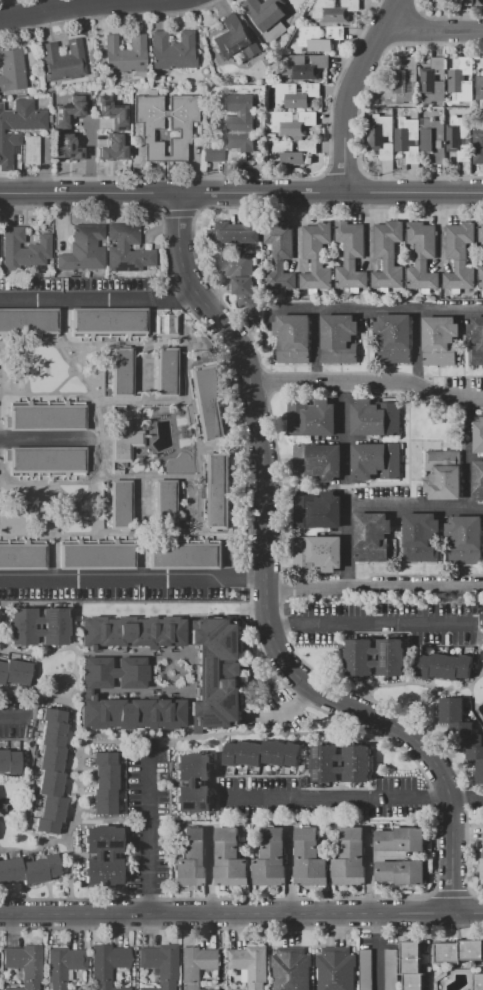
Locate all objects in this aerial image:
road: (60, 7)
building: (335, 10)
building: (267, 18)
road: (434, 29)
building: (235, 38)
building: (318, 38)
building: (172, 51)
building: (124, 54)
building: (62, 61)
building: (305, 67)
building: (12, 71)
building: (406, 80)
building: (460, 81)
building: (432, 82)
building: (479, 87)
road: (350, 92)
building: (295, 94)
building: (66, 114)
building: (113, 114)
building: (239, 122)
building: (292, 123)
building: (178, 126)
building: (17, 127)
building: (163, 135)
building: (383, 136)
building: (459, 137)
building: (408, 139)
building: (434, 140)
building: (478, 146)
building: (67, 148)
building: (112, 148)
building: (29, 149)
building: (293, 152)
building: (212, 153)
road: (90, 159)
road: (90, 195)
road: (262, 195)
road: (413, 195)
building: (236, 232)
building: (481, 232)
building: (24, 249)
building: (83, 249)
building: (126, 250)
building: (281, 254)
building: (350, 254)
building: (387, 254)
building: (422, 255)
building: (459, 255)
building: (317, 256)
building: (481, 276)
building: (239, 279)
road: (101, 301)
road: (380, 310)
building: (106, 321)
building: (29, 322)
building: (165, 325)
building: (293, 338)
building: (393, 338)
building: (339, 339)
building: (439, 340)
building: (476, 341)
road: (314, 346)
road: (1, 348)
road: (416, 348)
building: (122, 372)
building: (165, 372)
road: (367, 380)
road: (87, 386)
road: (73, 387)
road: (88, 392)
road: (64, 394)
building: (206, 403)
building: (44, 417)
building: (374, 417)
building: (311, 420)
road: (403, 420)
road: (345, 428)
building: (478, 435)
building: (123, 440)
road: (429, 440)
road: (32, 441)
road: (102, 444)
road: (409, 444)
road: (195, 453)
building: (43, 460)
building: (375, 460)
building: (316, 461)
road: (404, 463)
road: (421, 465)
building: (442, 474)
building: (478, 477)
road: (280, 479)
road: (98, 480)
road: (68, 486)
road: (344, 486)
building: (216, 491)
building: (121, 504)
building: (163, 504)
park: (28, 505)
road: (420, 506)
road: (61, 508)
road: (475, 508)
building: (317, 510)
road: (0, 532)
road: (100, 533)
building: (371, 536)
building: (420, 536)
building: (463, 540)
building: (317, 553)
building: (95, 554)
building: (21, 556)
building: (184, 556)
road: (52, 557)
road: (140, 557)
road: (146, 580)
road: (15, 581)
road: (373, 587)
road: (264, 588)
road: (125, 601)
road: (478, 615)
road: (366, 624)
building: (19, 627)
building: (130, 631)
road: (56, 650)
road: (478, 654)
building: (358, 658)
building: (444, 666)
building: (14, 672)
road: (73, 673)
building: (113, 673)
building: (216, 673)
road: (34, 678)
road: (422, 683)
road: (372, 700)
road: (472, 704)
road: (318, 707)
building: (131, 713)
parking lot: (14, 717)
road: (14, 718)
building: (462, 730)
road: (304, 734)
road: (101, 741)
building: (261, 754)
building: (8, 761)
building: (342, 763)
road: (78, 766)
building: (50, 771)
road: (217, 775)
road: (262, 775)
building: (103, 782)
building: (192, 782)
parking lot: (319, 799)
road: (353, 800)
parking lot: (147, 817)
road: (125, 818)
road: (99, 821)
road: (148, 832)
road: (32, 834)
building: (400, 839)
road: (24, 851)
road: (466, 853)
building: (101, 855)
building: (309, 857)
building: (349, 857)
building: (191, 858)
building: (229, 858)
building: (270, 858)
road: (289, 868)
building: (28, 869)
road: (369, 869)
building: (482, 869)
road: (210, 870)
building: (401, 871)
road: (451, 894)
road: (263, 899)
road: (226, 914)
road: (467, 914)
road: (241, 927)
building: (459, 951)
road: (376, 952)
building: (159, 964)
building: (24, 965)
building: (106, 965)
building: (197, 965)
building: (249, 965)
building: (411, 965)
building: (62, 966)
building: (290, 969)
building: (335, 969)
building: (390, 969)
building: (365, 970)
building: (478, 982)
building: (78, 989)

